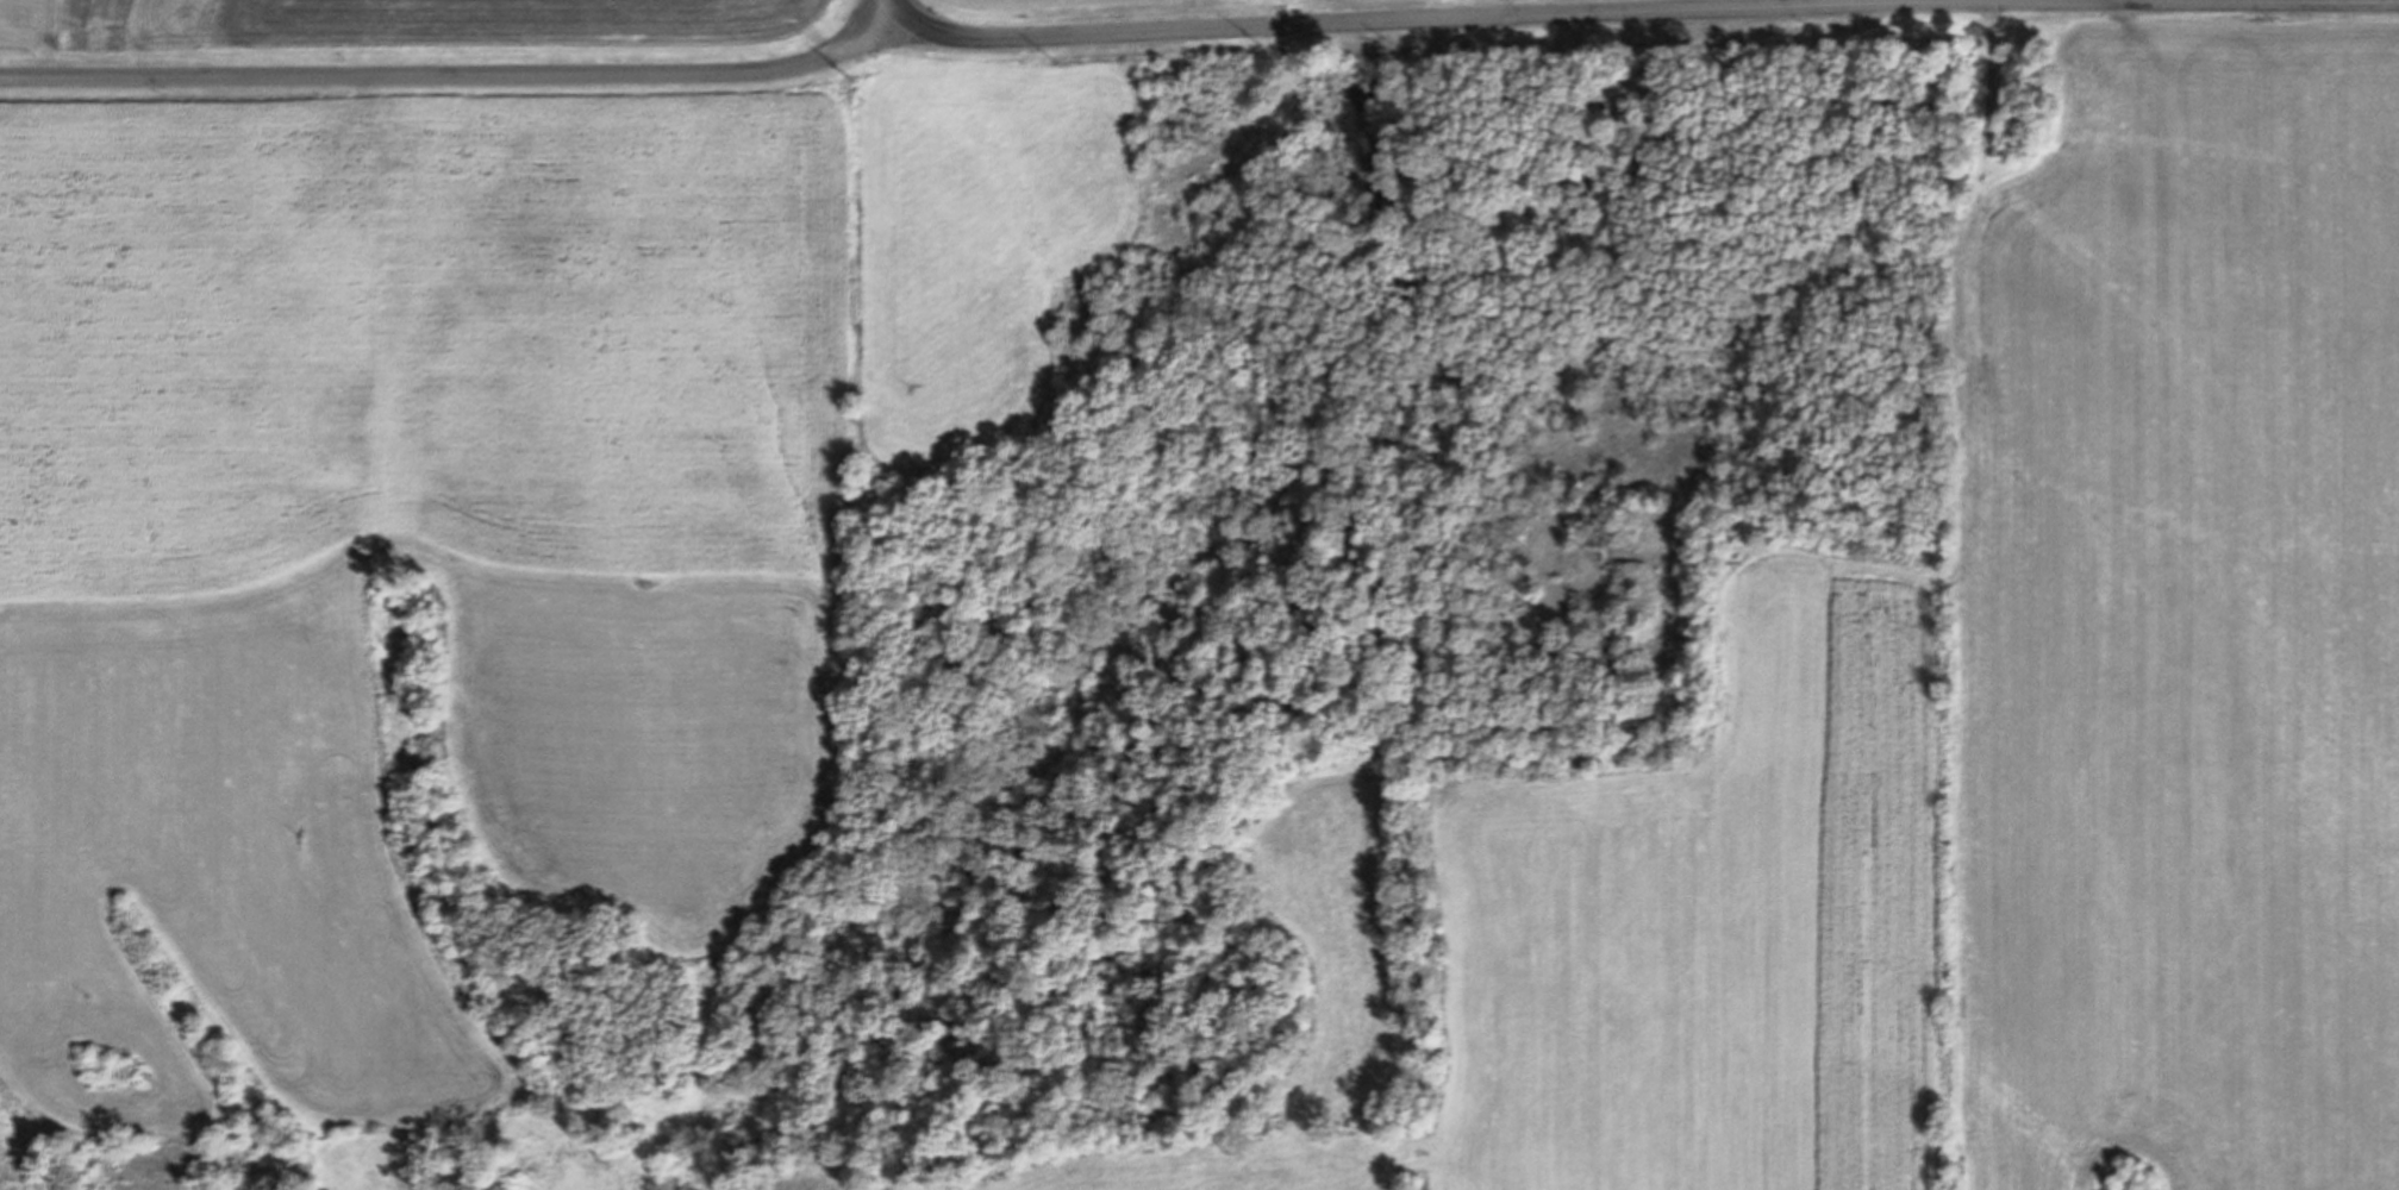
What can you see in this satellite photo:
road: (1636, 11)
road: (456, 73)

